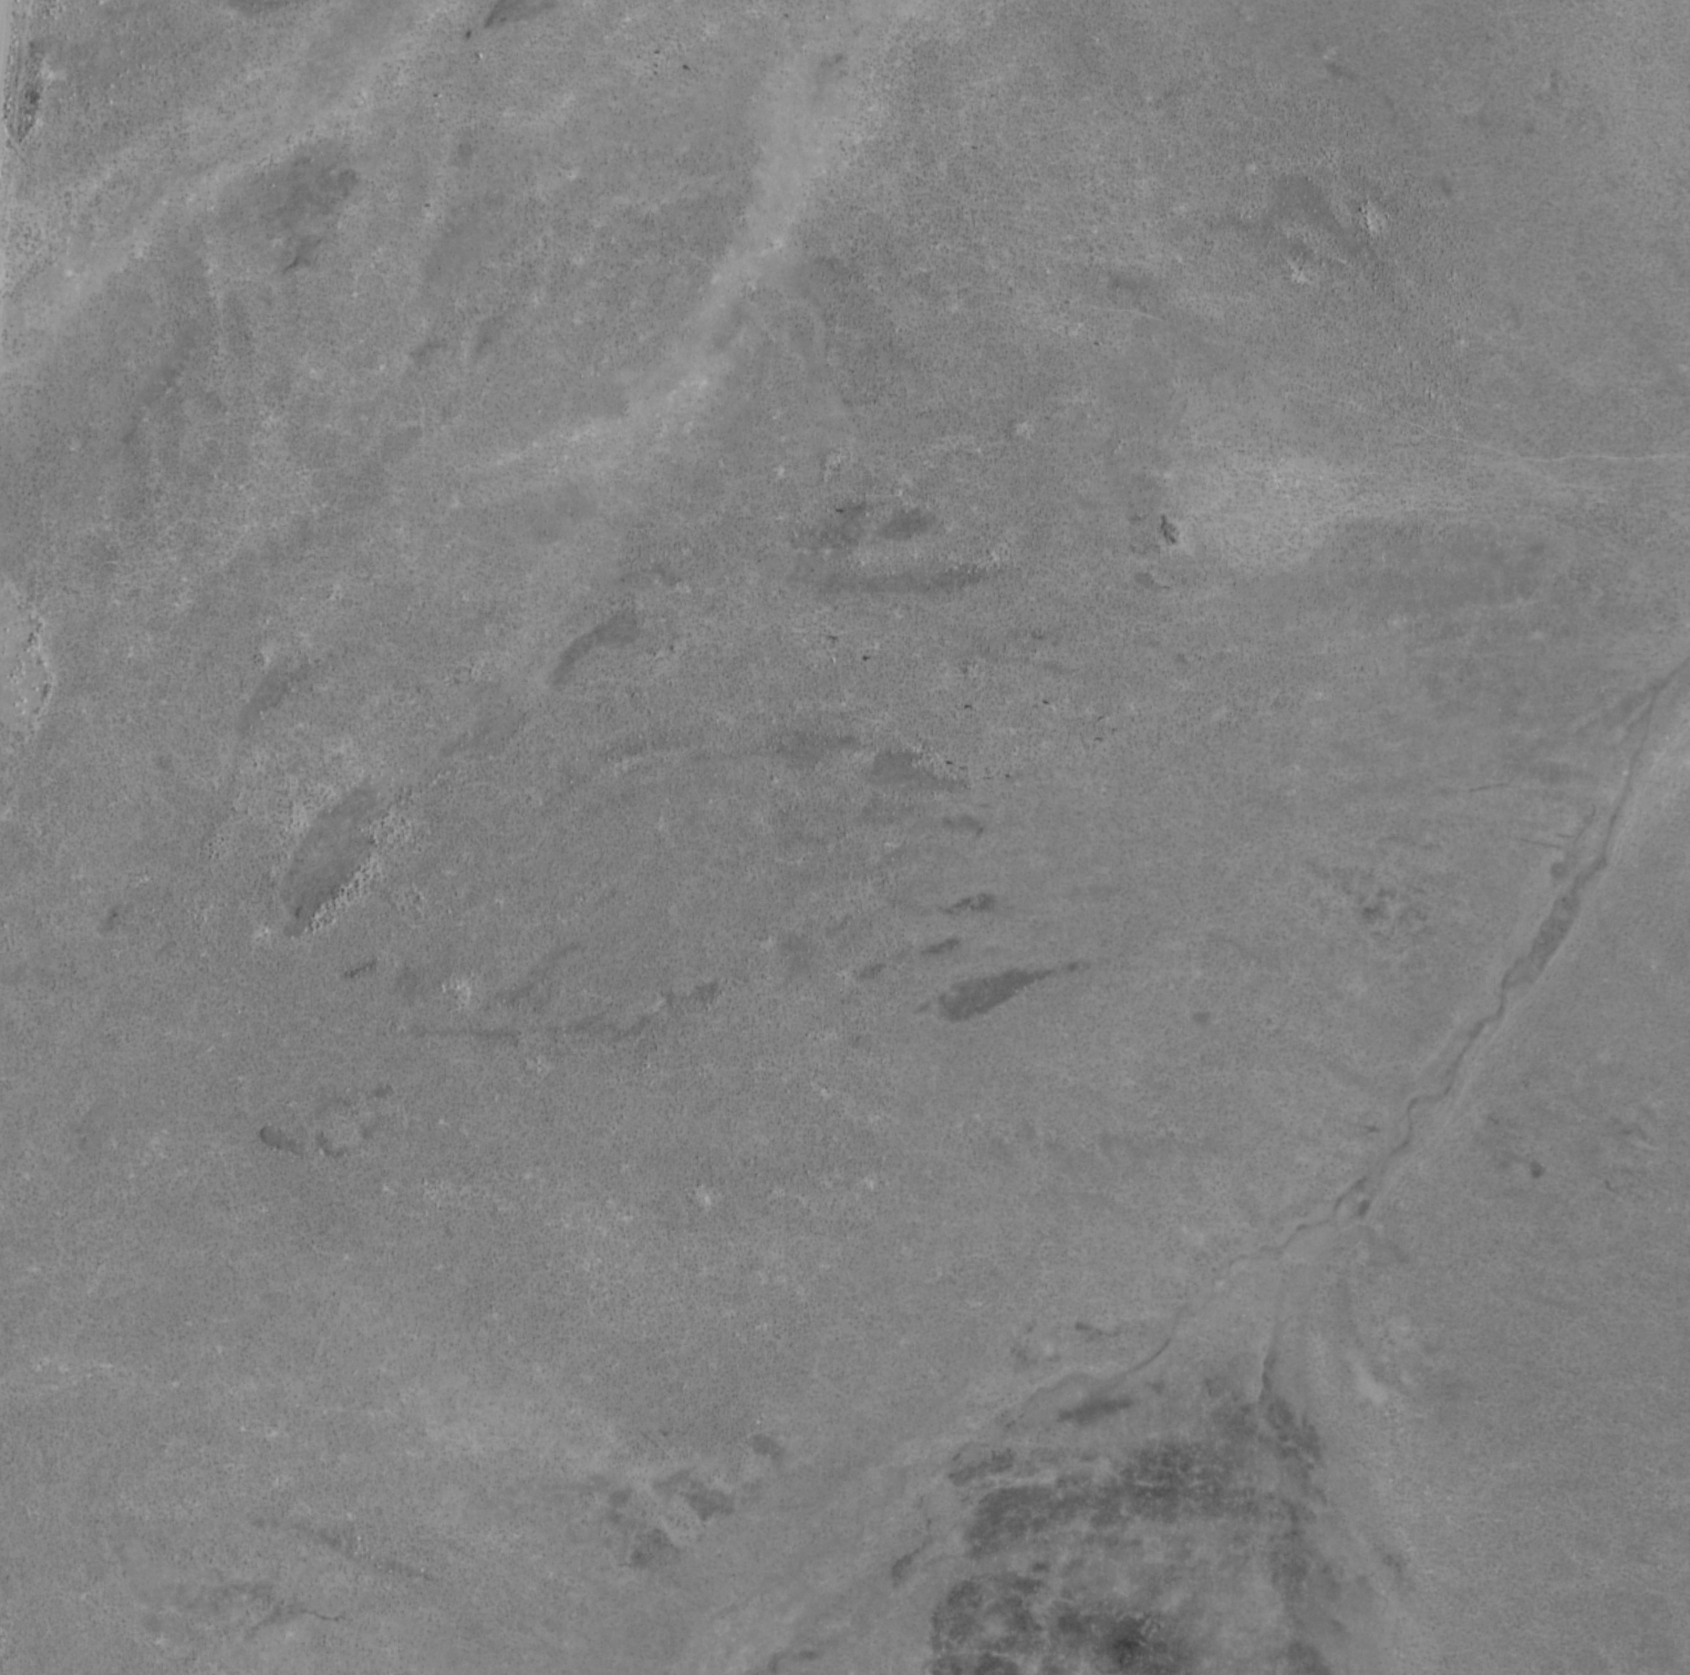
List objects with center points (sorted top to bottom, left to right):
road: (0, 1)

